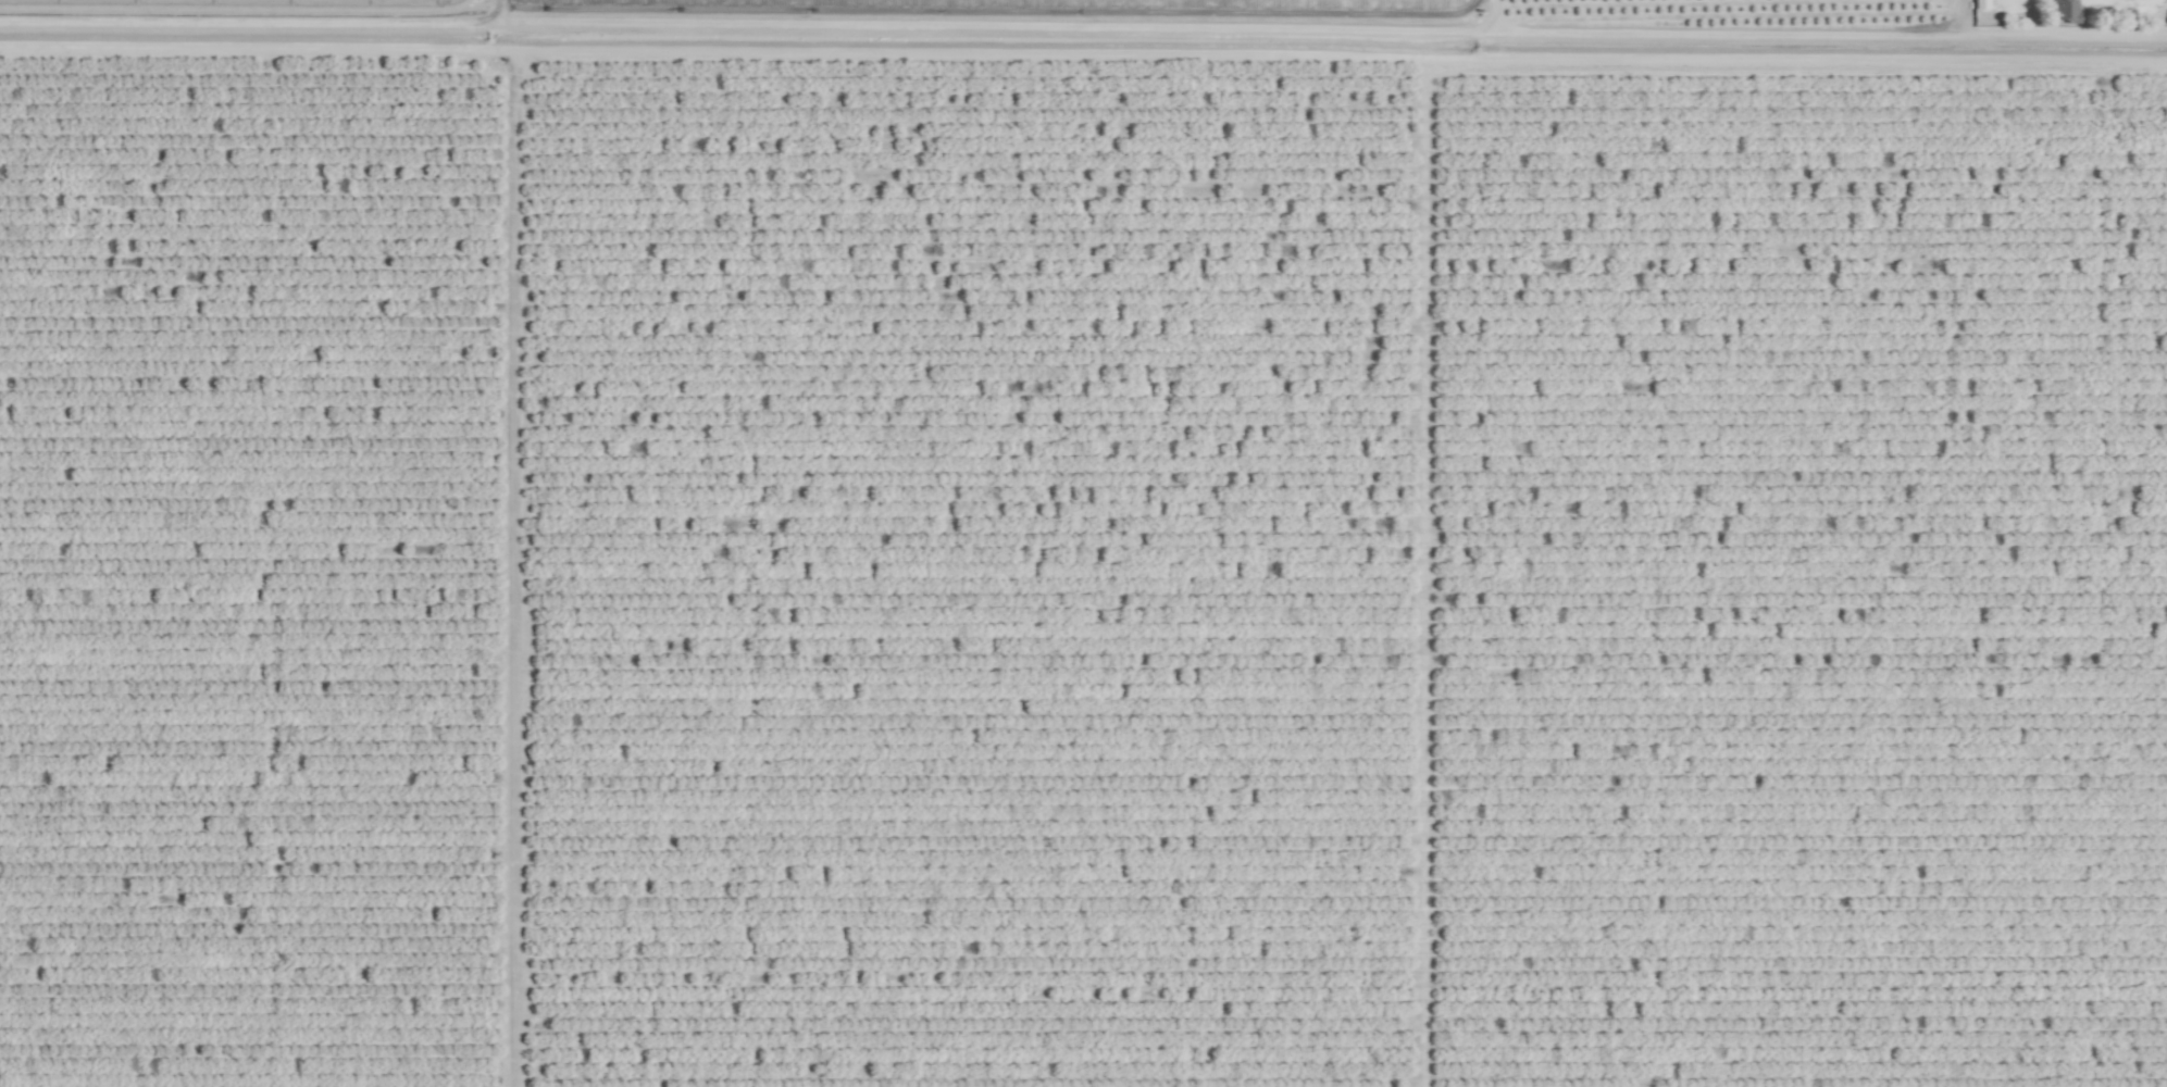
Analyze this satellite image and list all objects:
building: (1978, 4)
building: (2064, 9)
crop: (1083, 543)

